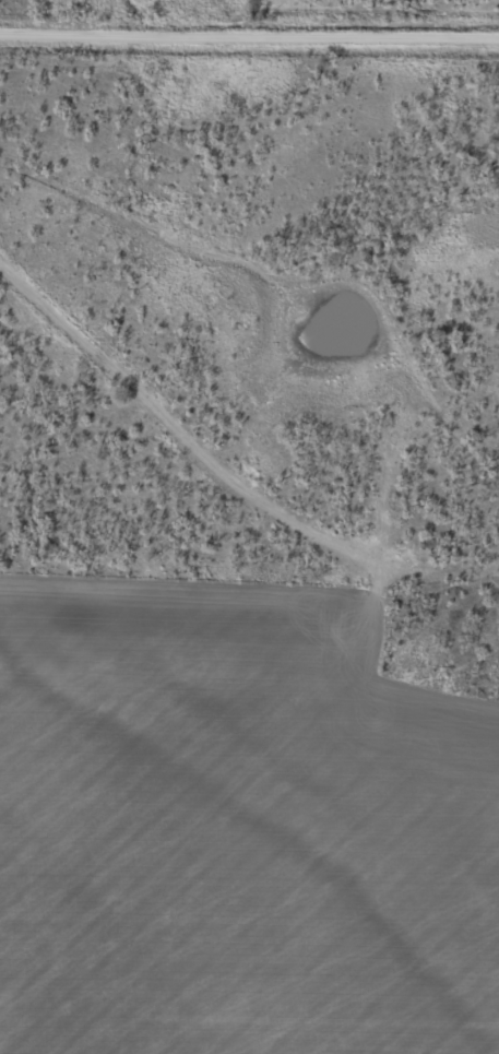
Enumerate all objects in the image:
road: (249, 34)
road: (197, 463)

